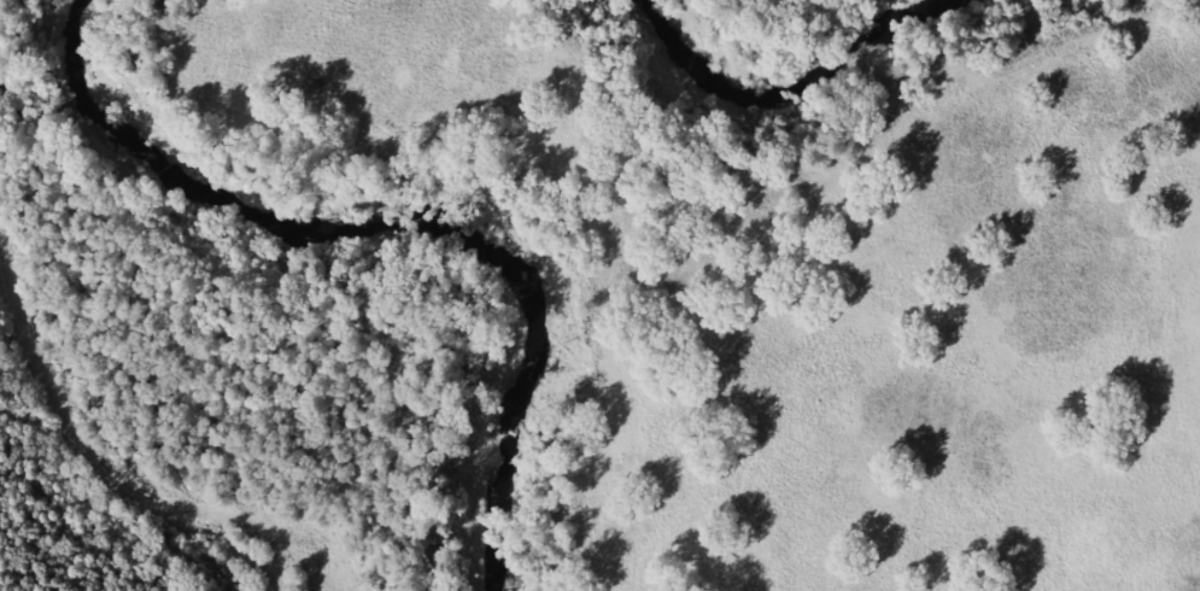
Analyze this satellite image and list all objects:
road: (96, 432)

